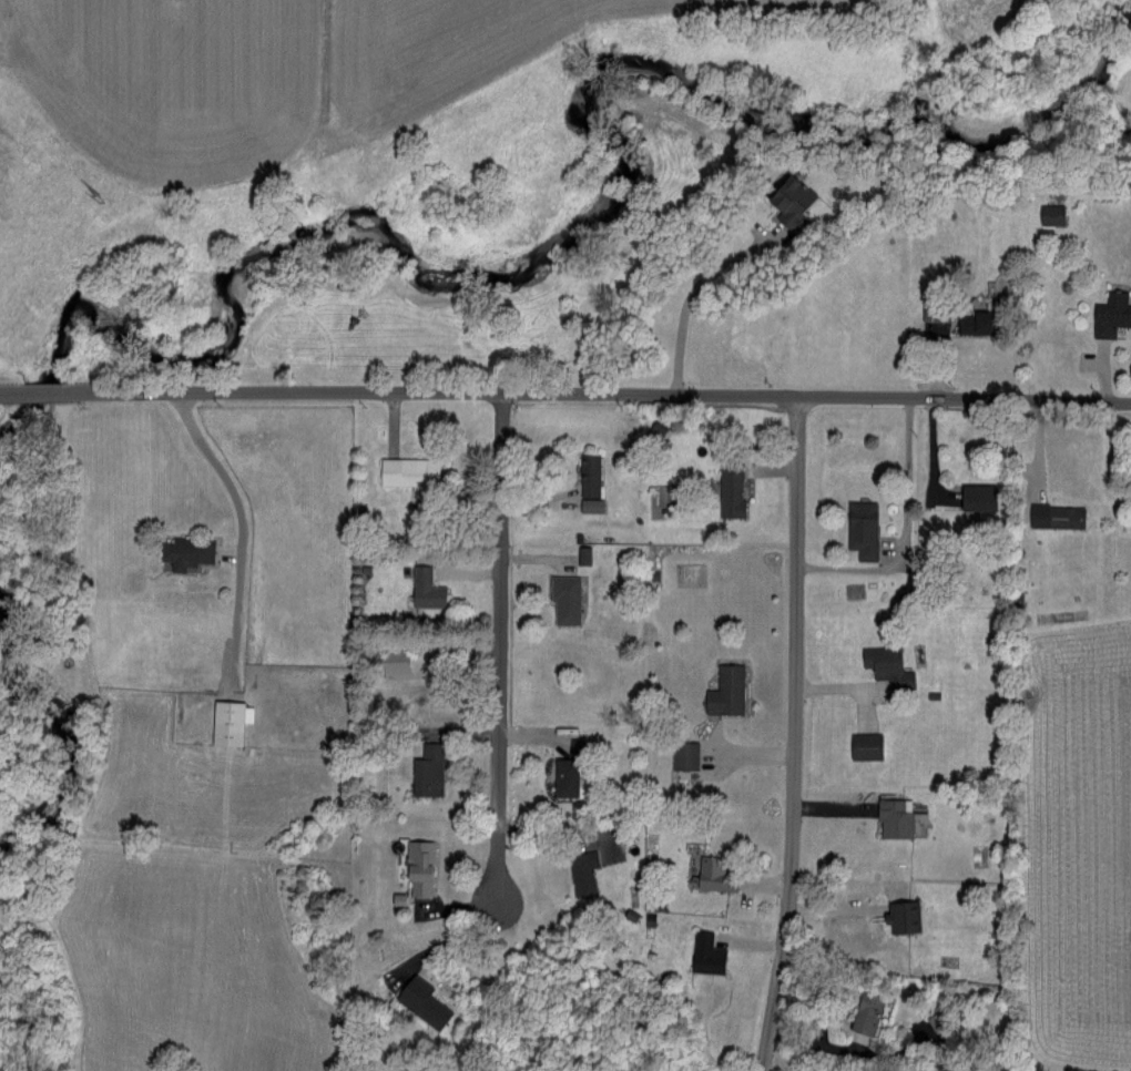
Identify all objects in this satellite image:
building: (781, 193)
power tower: (108, 194)
building: (1048, 213)
road: (693, 295)
building: (1108, 313)
building: (969, 322)
road: (53, 386)
road: (18, 387)
road: (601, 392)
building: (651, 428)
building: (587, 475)
building: (726, 489)
building: (972, 496)
building: (587, 504)
building: (1052, 516)
road: (252, 526)
building: (857, 528)
road: (904, 535)
building: (181, 551)
building: (421, 588)
building: (561, 598)
road: (498, 646)
building: (882, 664)
building: (722, 691)
building: (224, 721)
road: (794, 734)
building: (860, 745)
building: (679, 755)
building: (422, 776)
building: (554, 776)
building: (893, 817)
road: (565, 828)
building: (412, 866)
building: (578, 873)
building: (710, 875)
building: (898, 916)
building: (702, 953)
building: (417, 1001)
building: (859, 1013)

